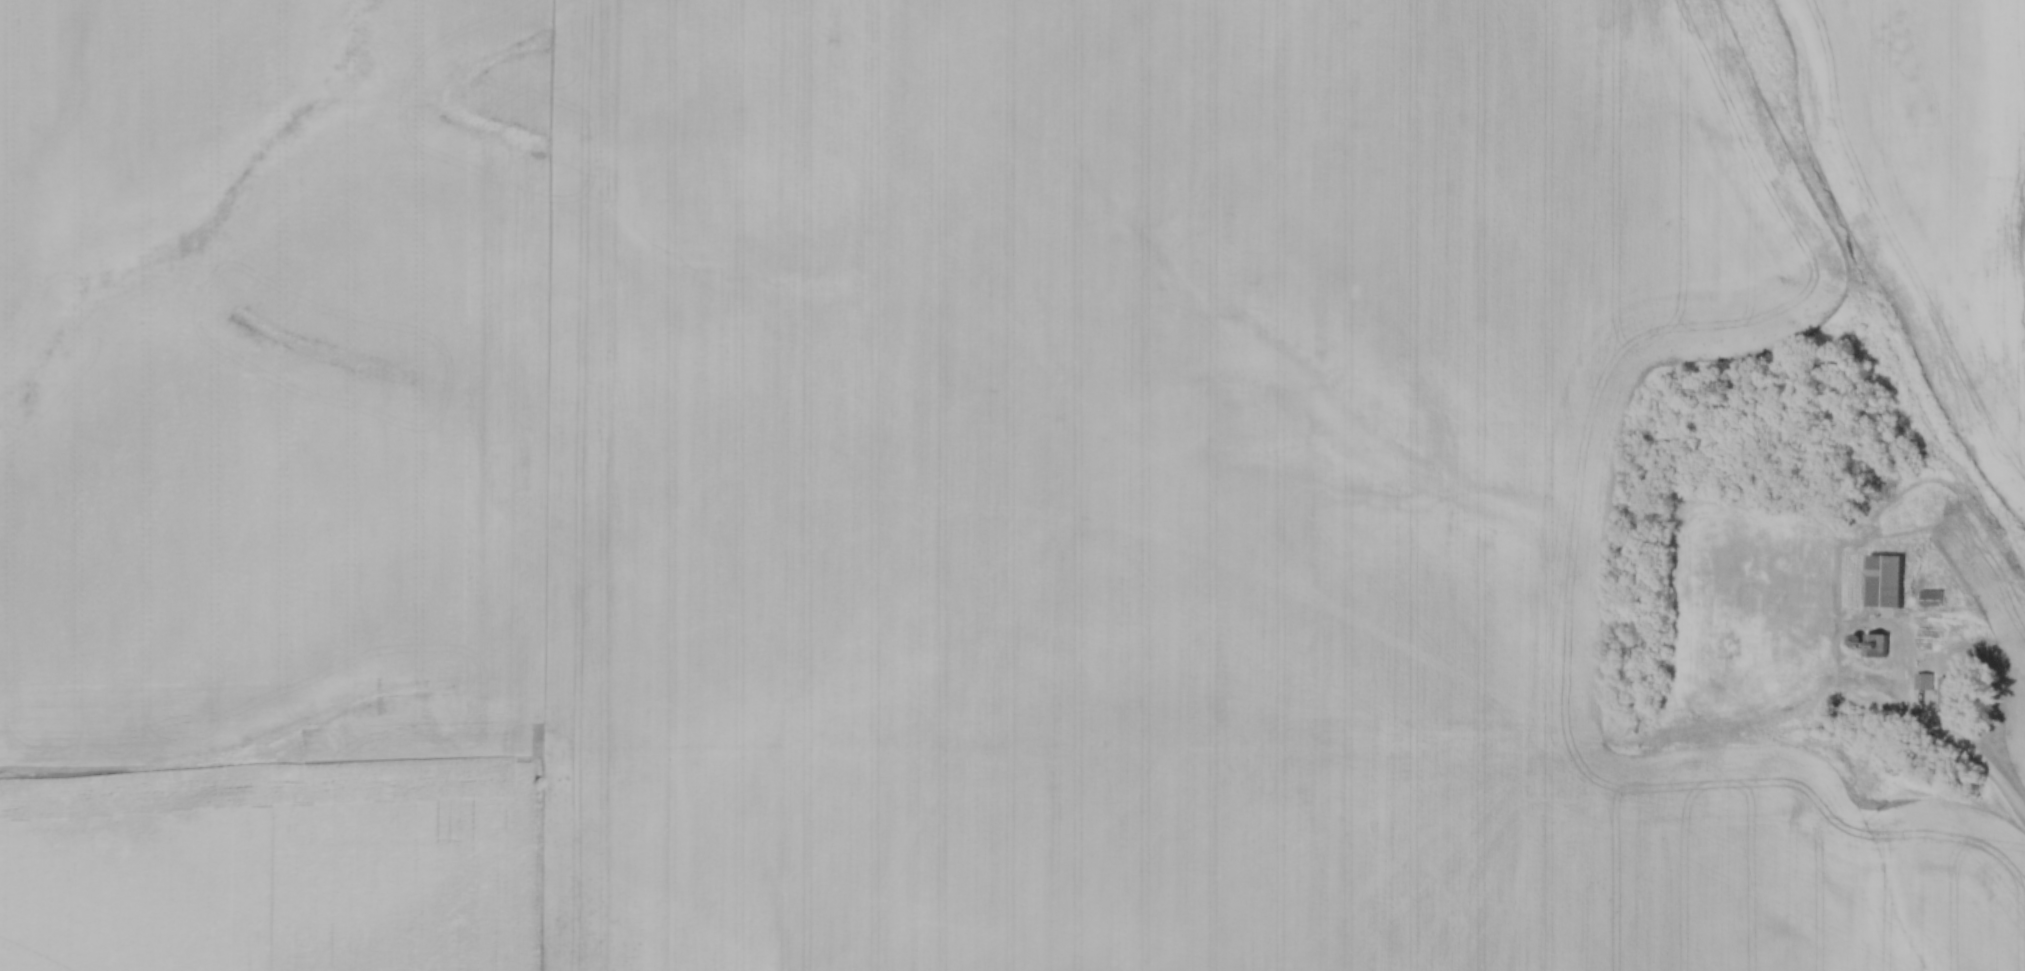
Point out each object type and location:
building: (1893, 582)
road: (1940, 734)

